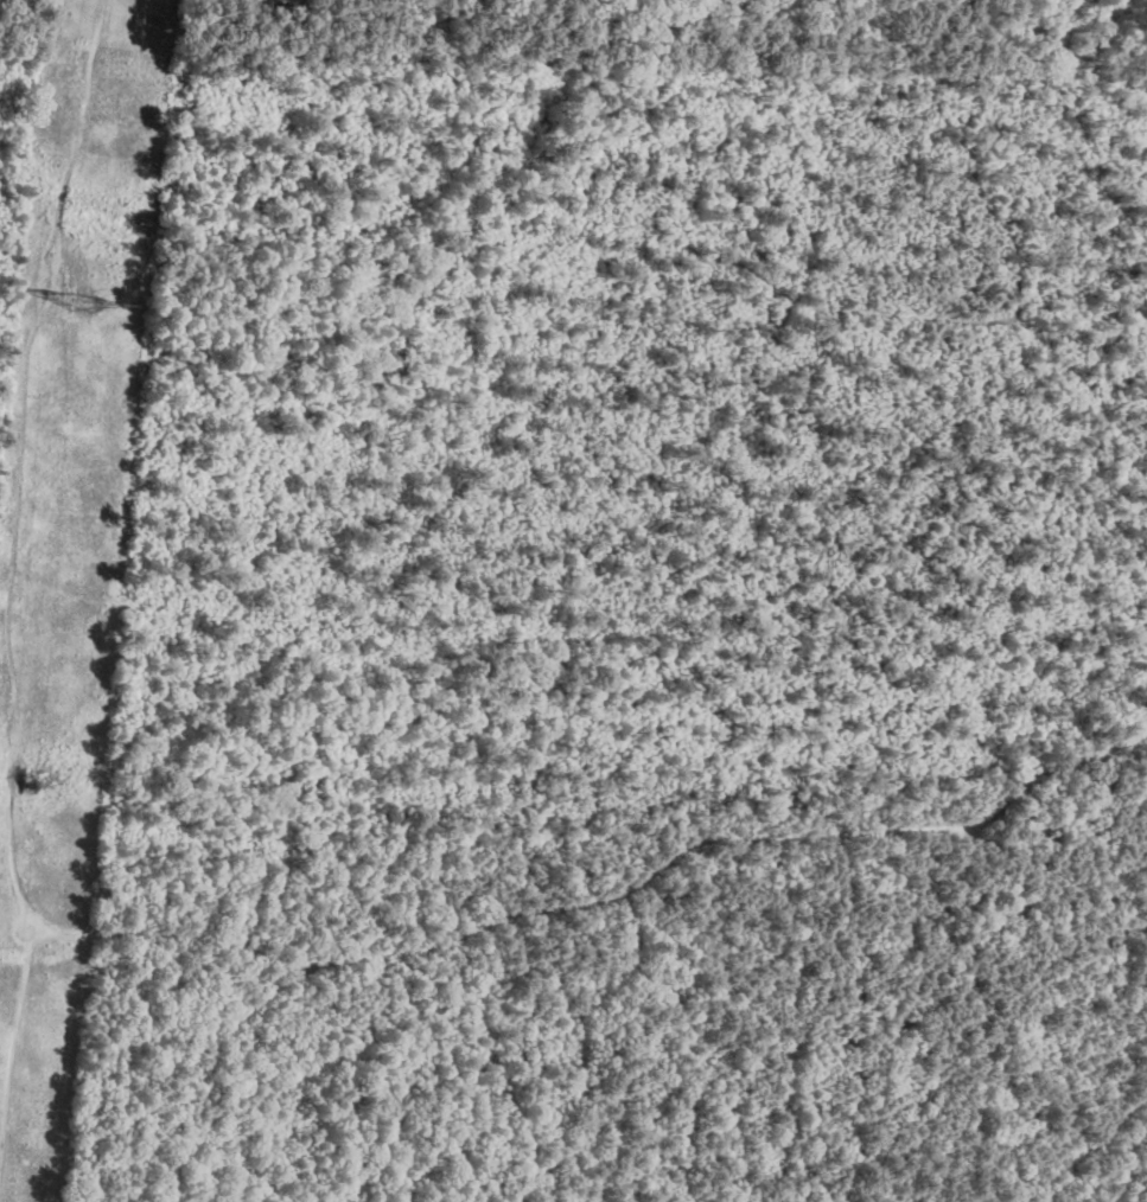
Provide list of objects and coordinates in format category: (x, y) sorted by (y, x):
power tower: (83, 299)

